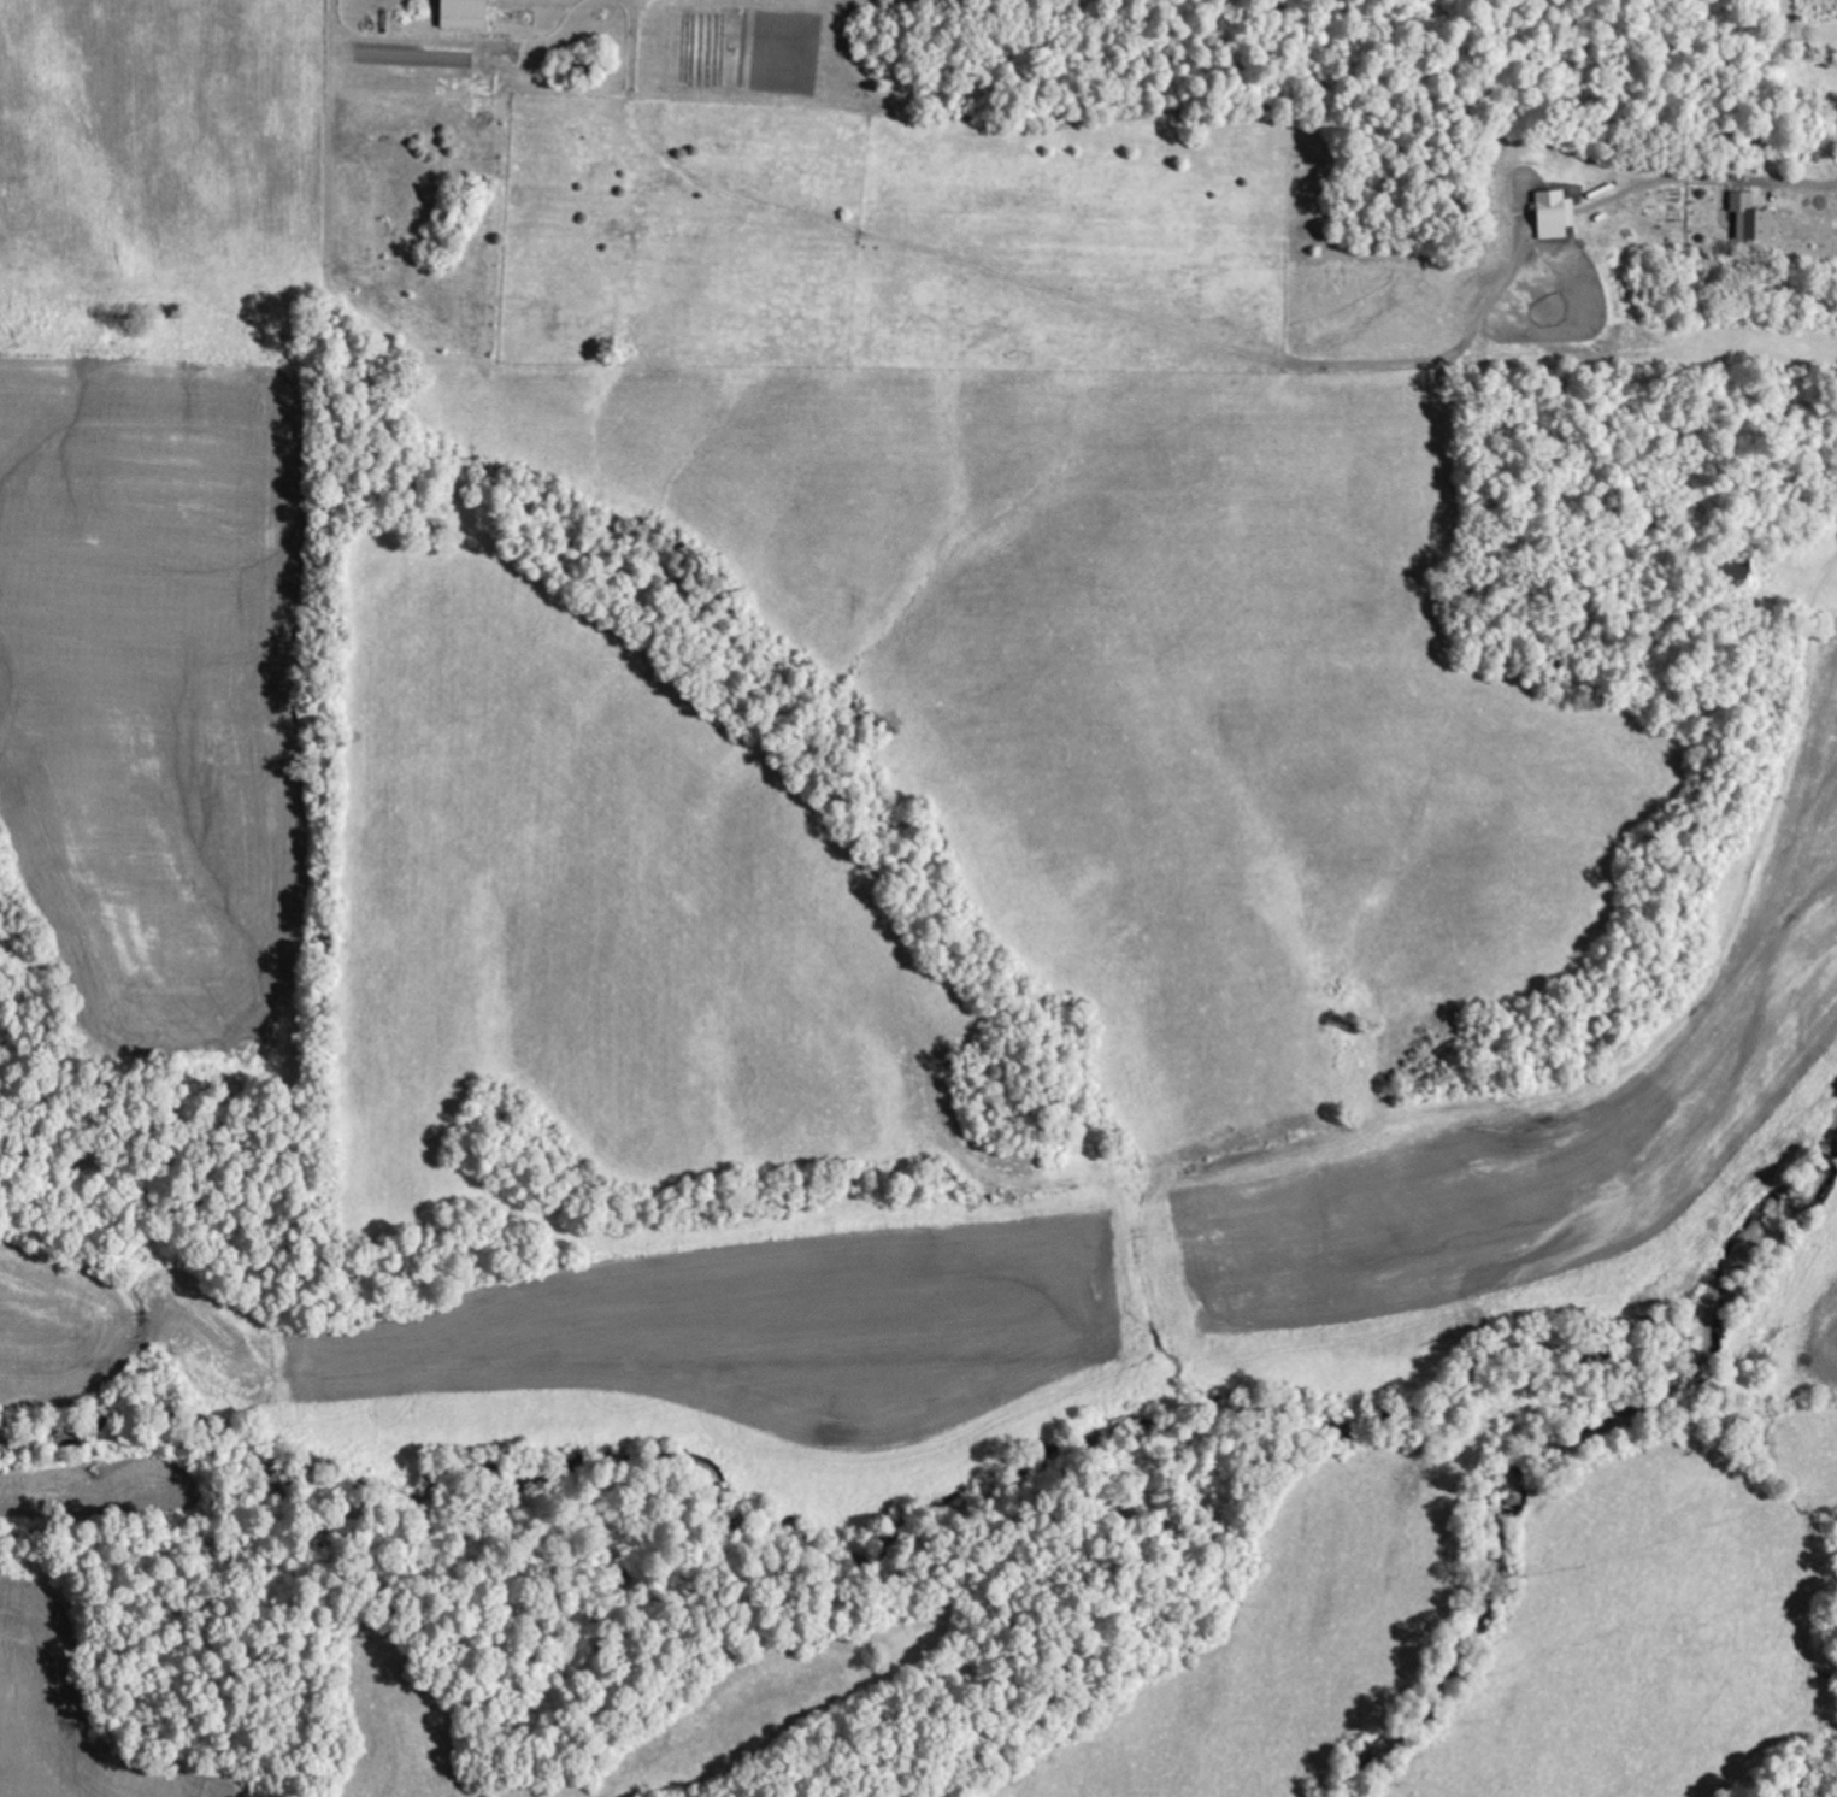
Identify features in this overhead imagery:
building: (465, 14)
building: (1751, 218)

